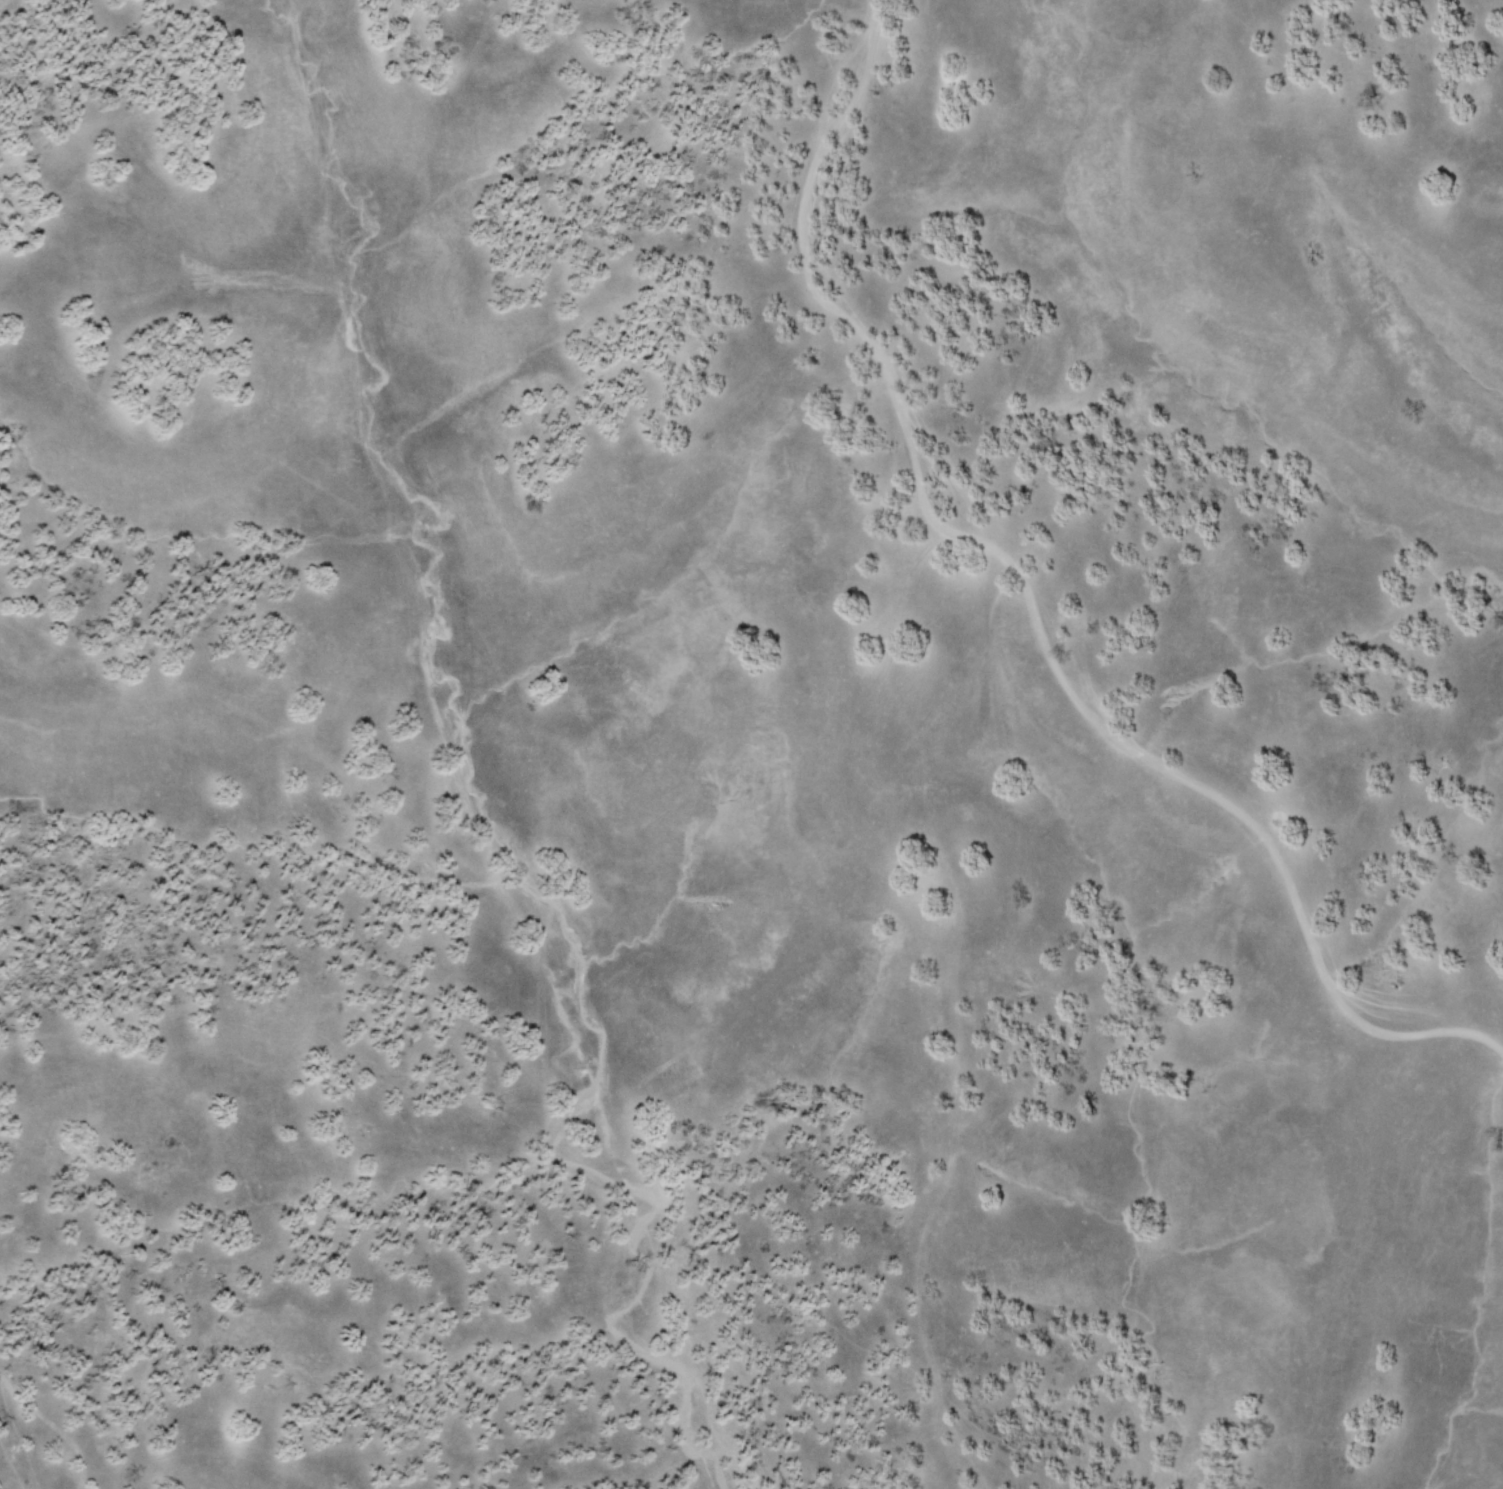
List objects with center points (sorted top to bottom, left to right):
road: (1028, 602)

